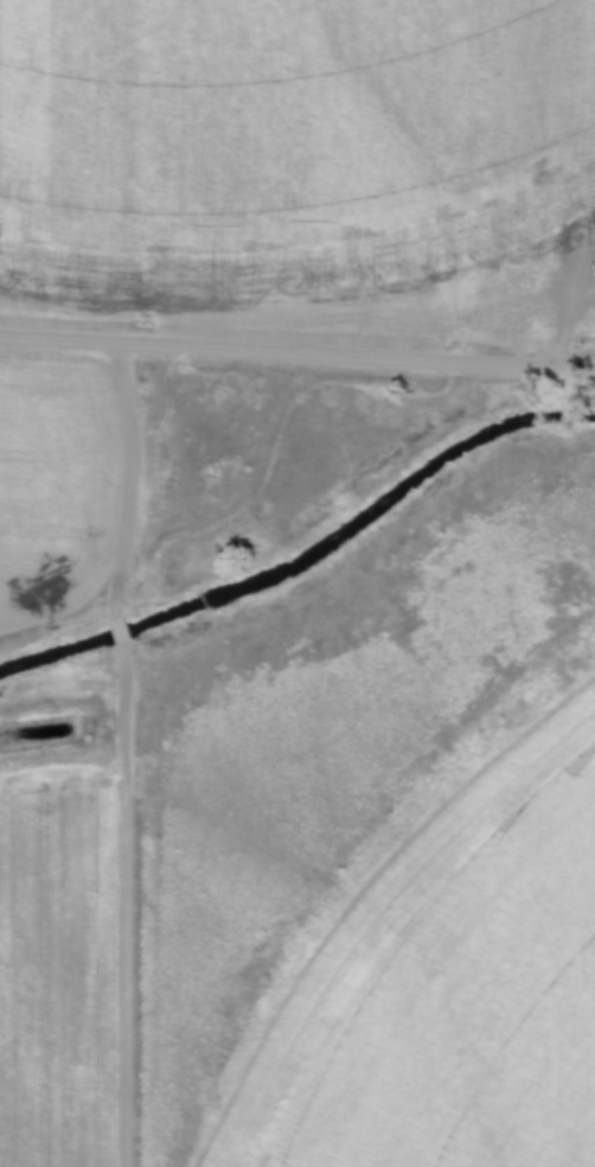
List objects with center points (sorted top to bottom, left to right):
crop: (283, 152)
building: (522, 298)
road: (297, 353)
crop: (55, 980)
crop: (446, 982)

